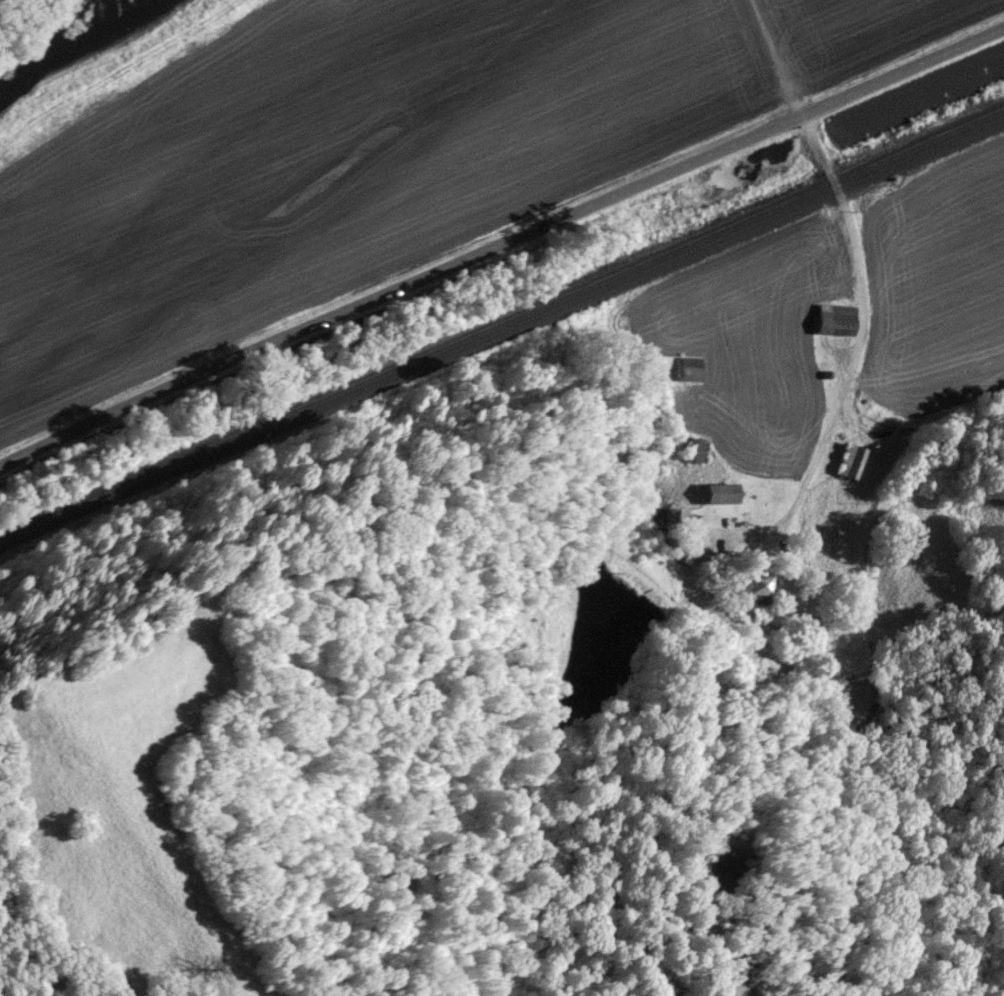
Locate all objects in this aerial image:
road: (497, 236)
road: (851, 249)
railway: (501, 320)
building: (837, 321)
railway: (500, 331)
building: (688, 370)
building: (694, 450)
building: (853, 462)
building: (723, 494)
building: (677, 521)
building: (759, 586)

